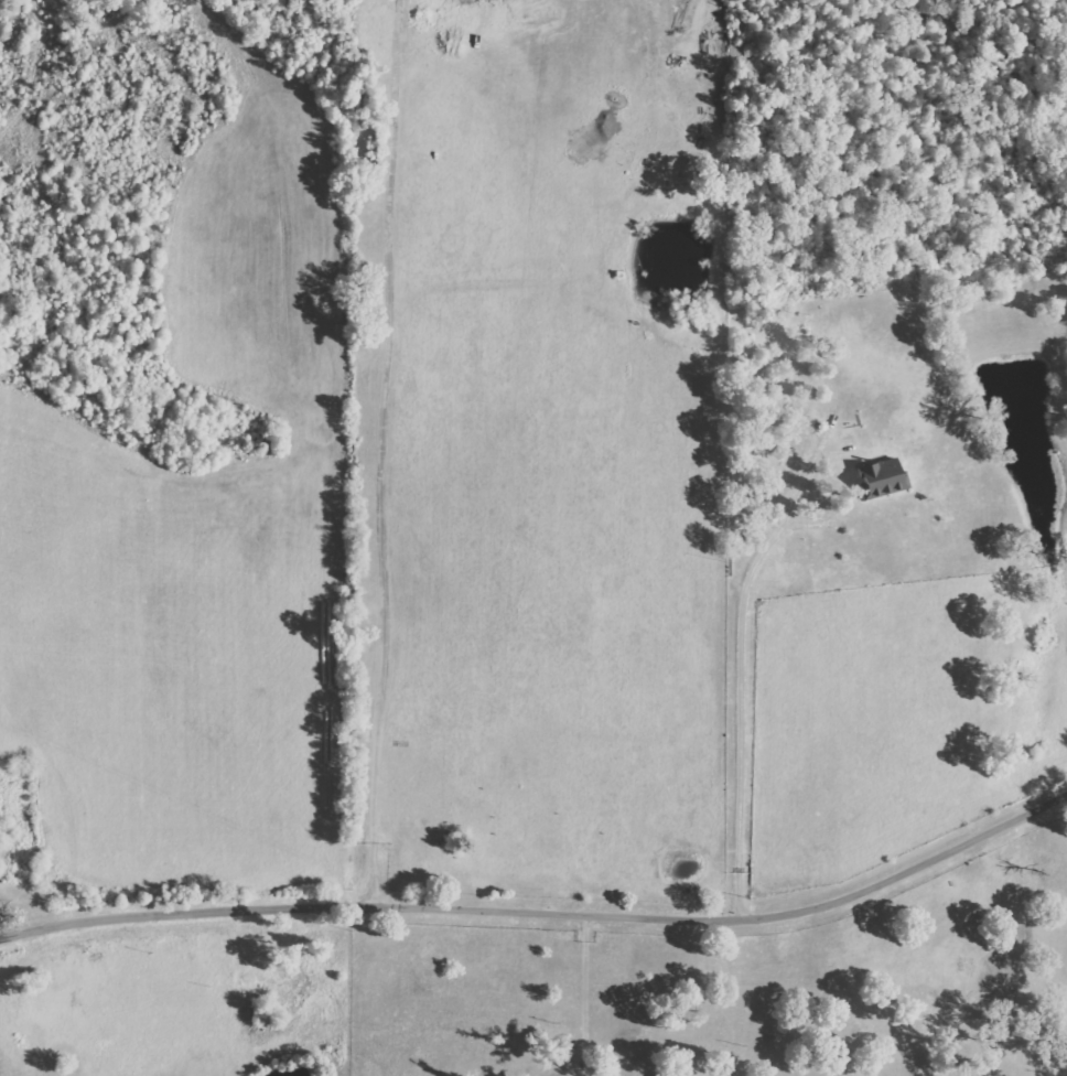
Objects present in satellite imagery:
building: (877, 477)
road: (742, 675)
road: (545, 916)
road: (18, 929)
road: (594, 997)

